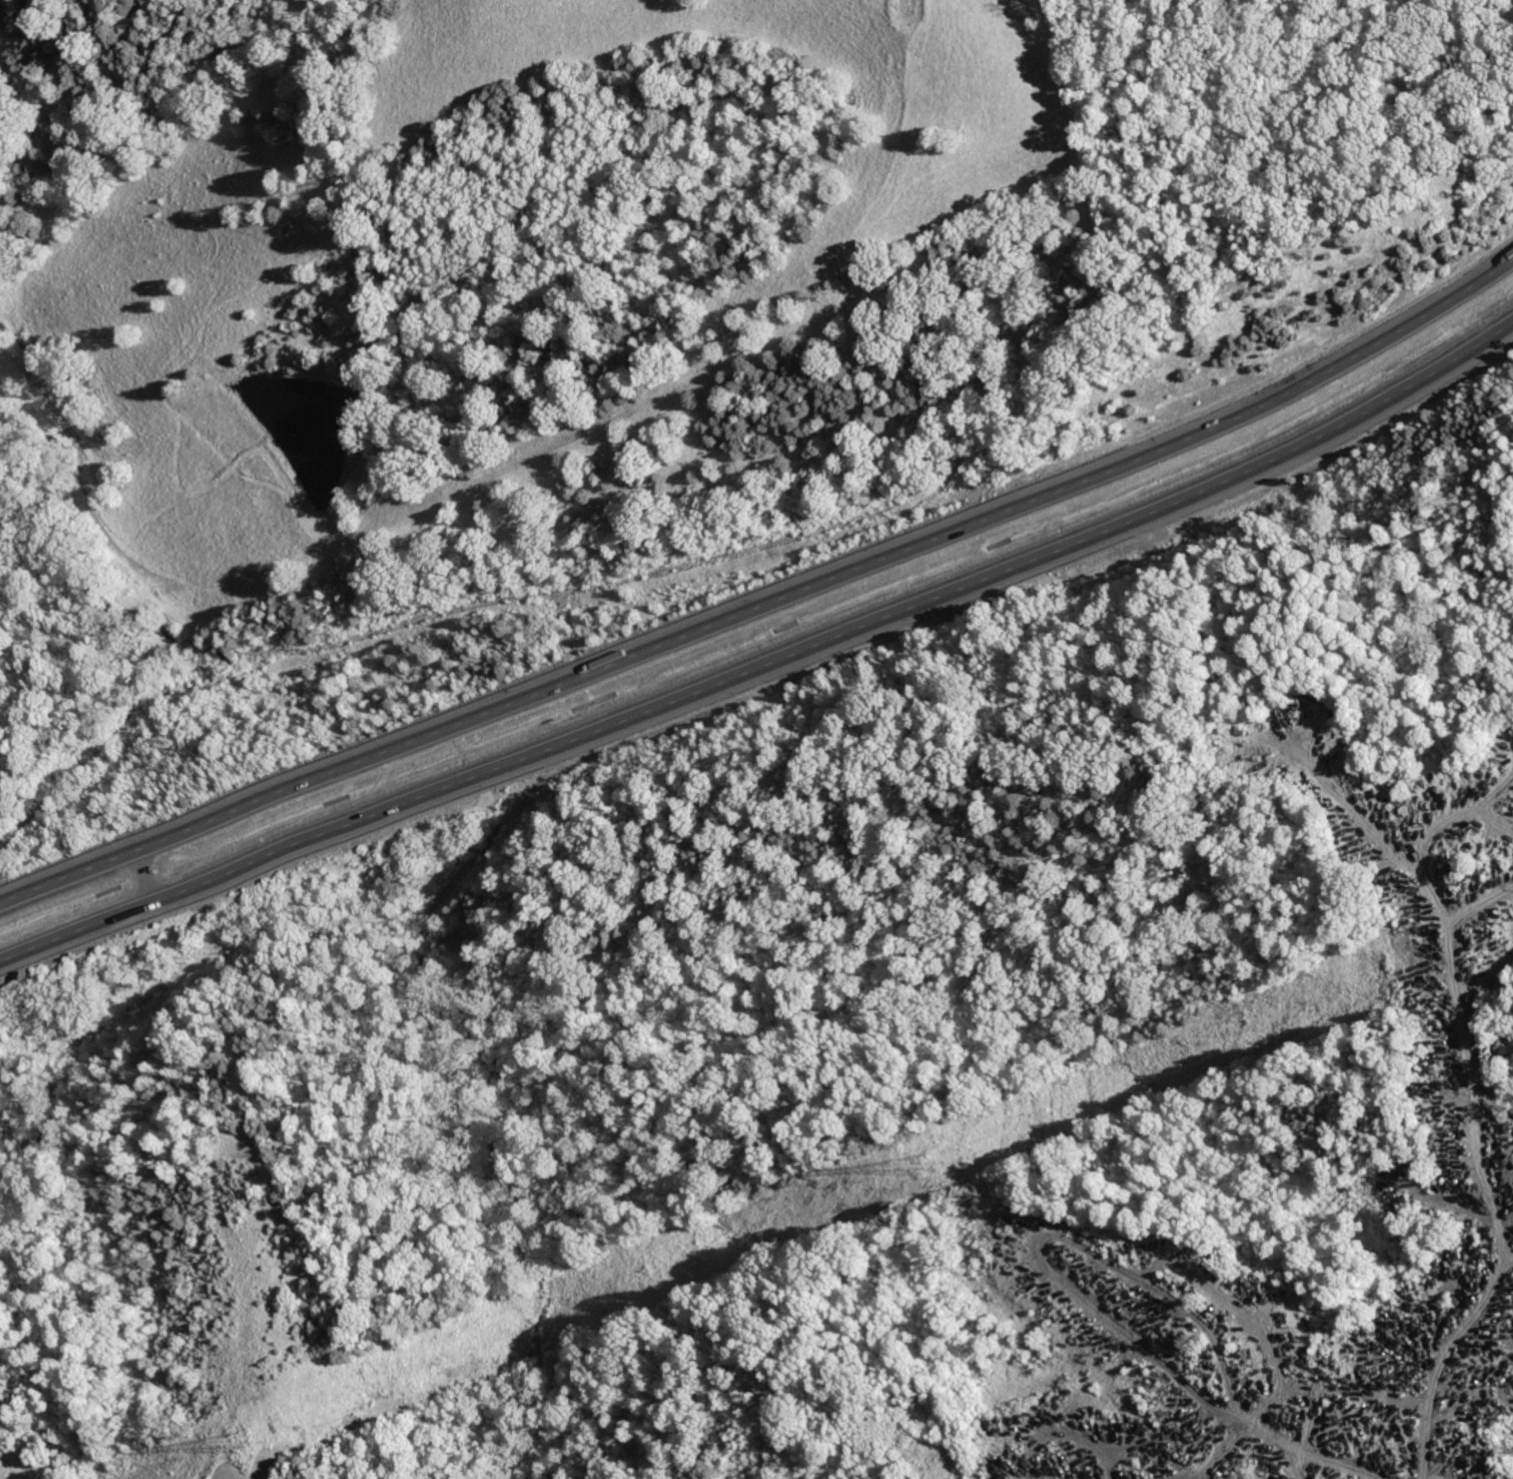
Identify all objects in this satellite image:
road: (770, 601)
road: (766, 670)
power tower: (928, 1166)
road: (1445, 1237)
power tower: (247, 1439)

